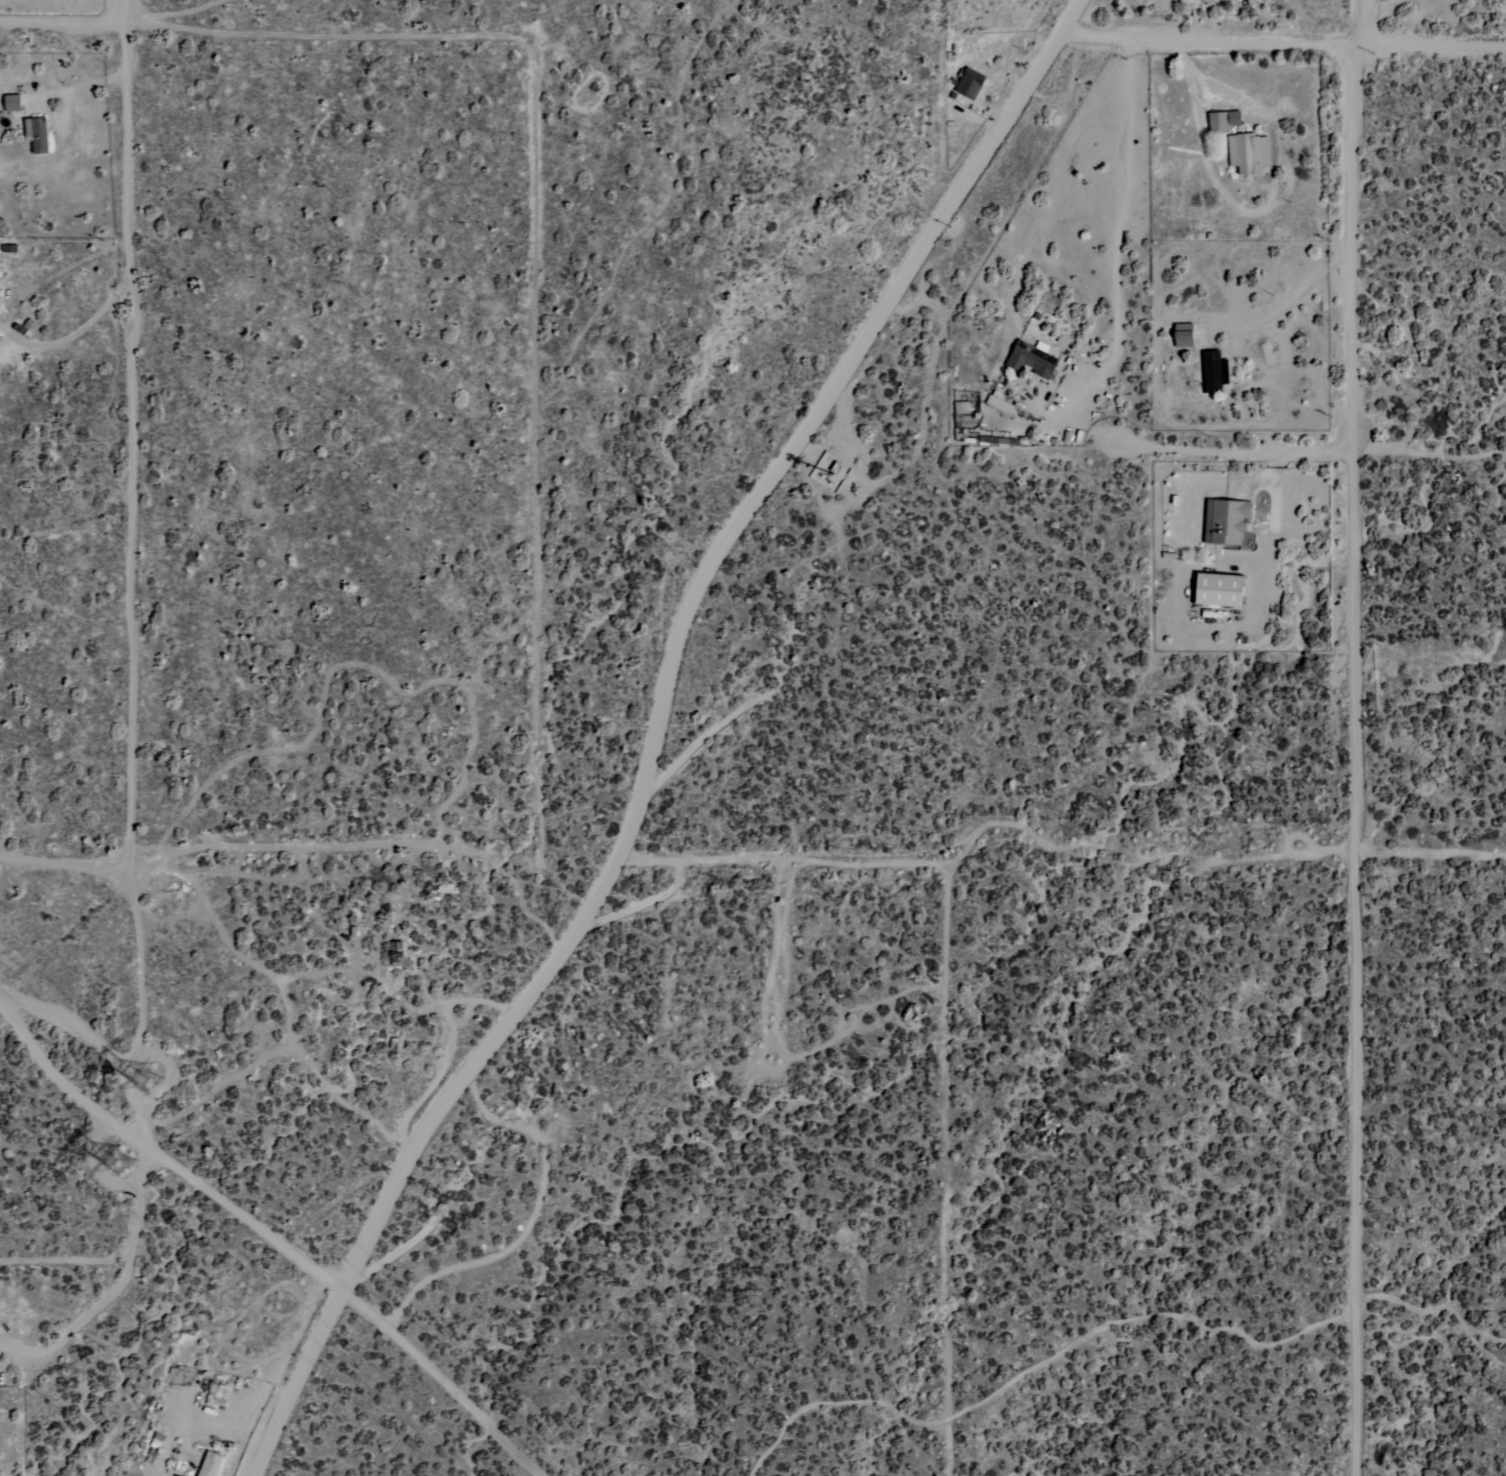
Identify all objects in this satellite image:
building: (1184, 1)
road: (62, 23)
road: (1283, 44)
road: (1209, 83)
building: (968, 84)
road: (77, 87)
building: (36, 134)
building: (1248, 154)
road: (1120, 215)
road: (1295, 294)
road: (74, 335)
building: (1030, 359)
building: (1213, 372)
building: (997, 404)
building: (961, 411)
road: (132, 433)
road: (1232, 451)
building: (1224, 521)
building: (1217, 589)
road: (657, 730)
road: (1351, 737)
road: (267, 847)
road: (64, 866)
power tower: (143, 1082)
power tower: (122, 1163)
road: (270, 1238)
building: (209, 1464)

